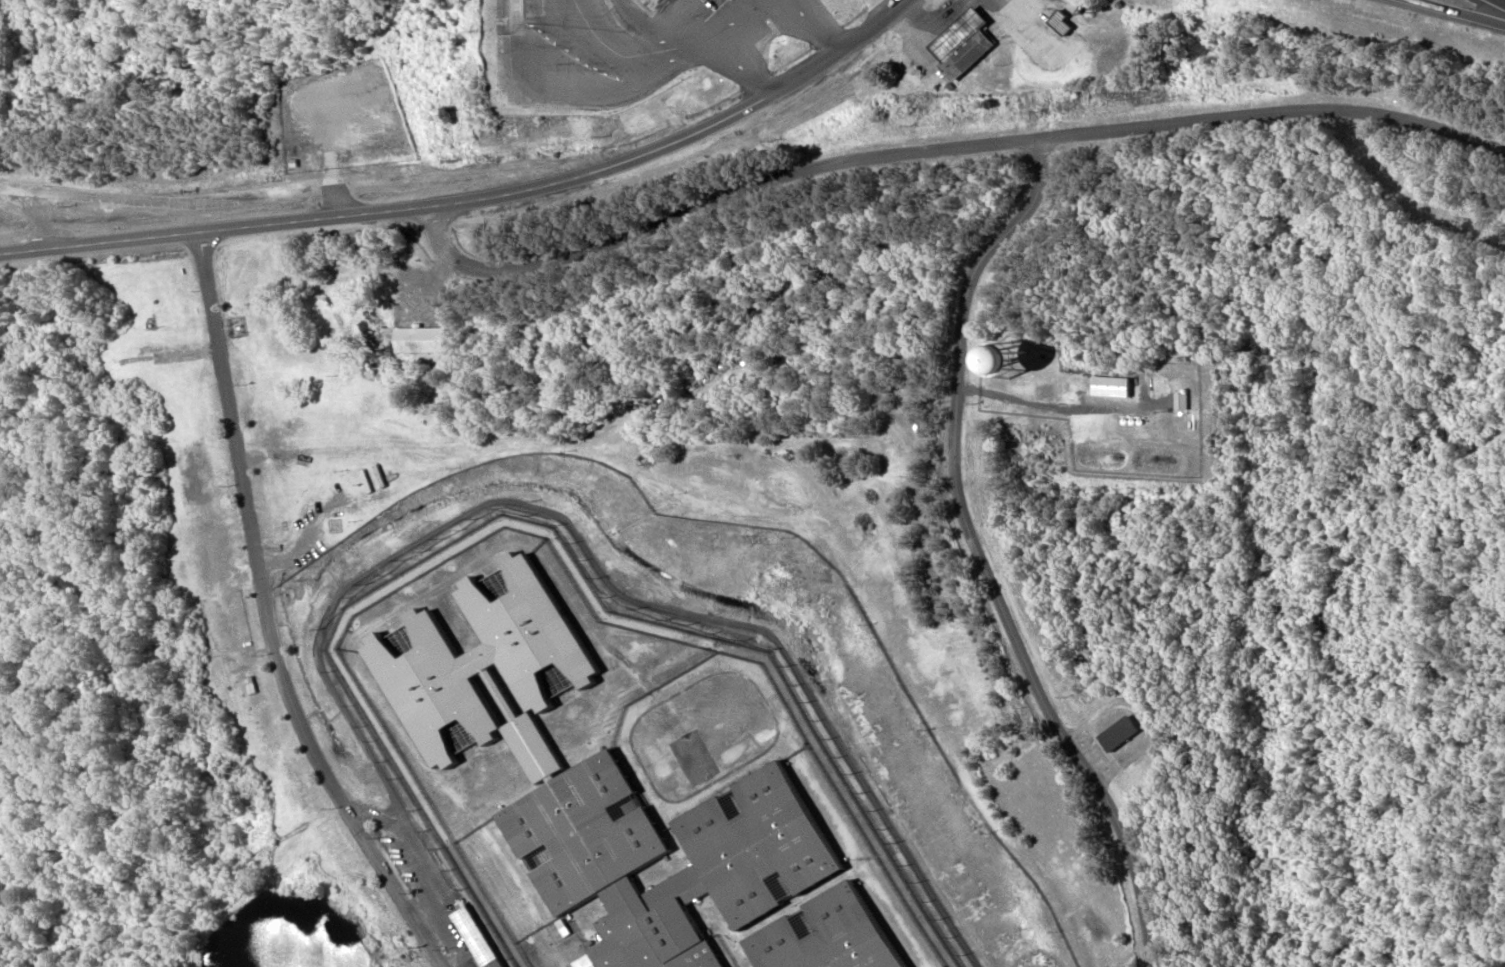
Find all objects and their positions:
road: (1456, 12)
building: (960, 32)
gas station: (960, 32)
building: (967, 54)
road: (939, 144)
road: (474, 194)
road: (31, 207)
building: (419, 341)
water tower: (1019, 350)
building: (995, 367)
building: (1052, 390)
building: (1182, 401)
building: (335, 525)
road: (980, 551)
road: (598, 581)
road: (273, 617)
building: (252, 687)
building: (1121, 734)
building: (596, 782)
road: (414, 849)
building: (824, 935)
building: (482, 938)

